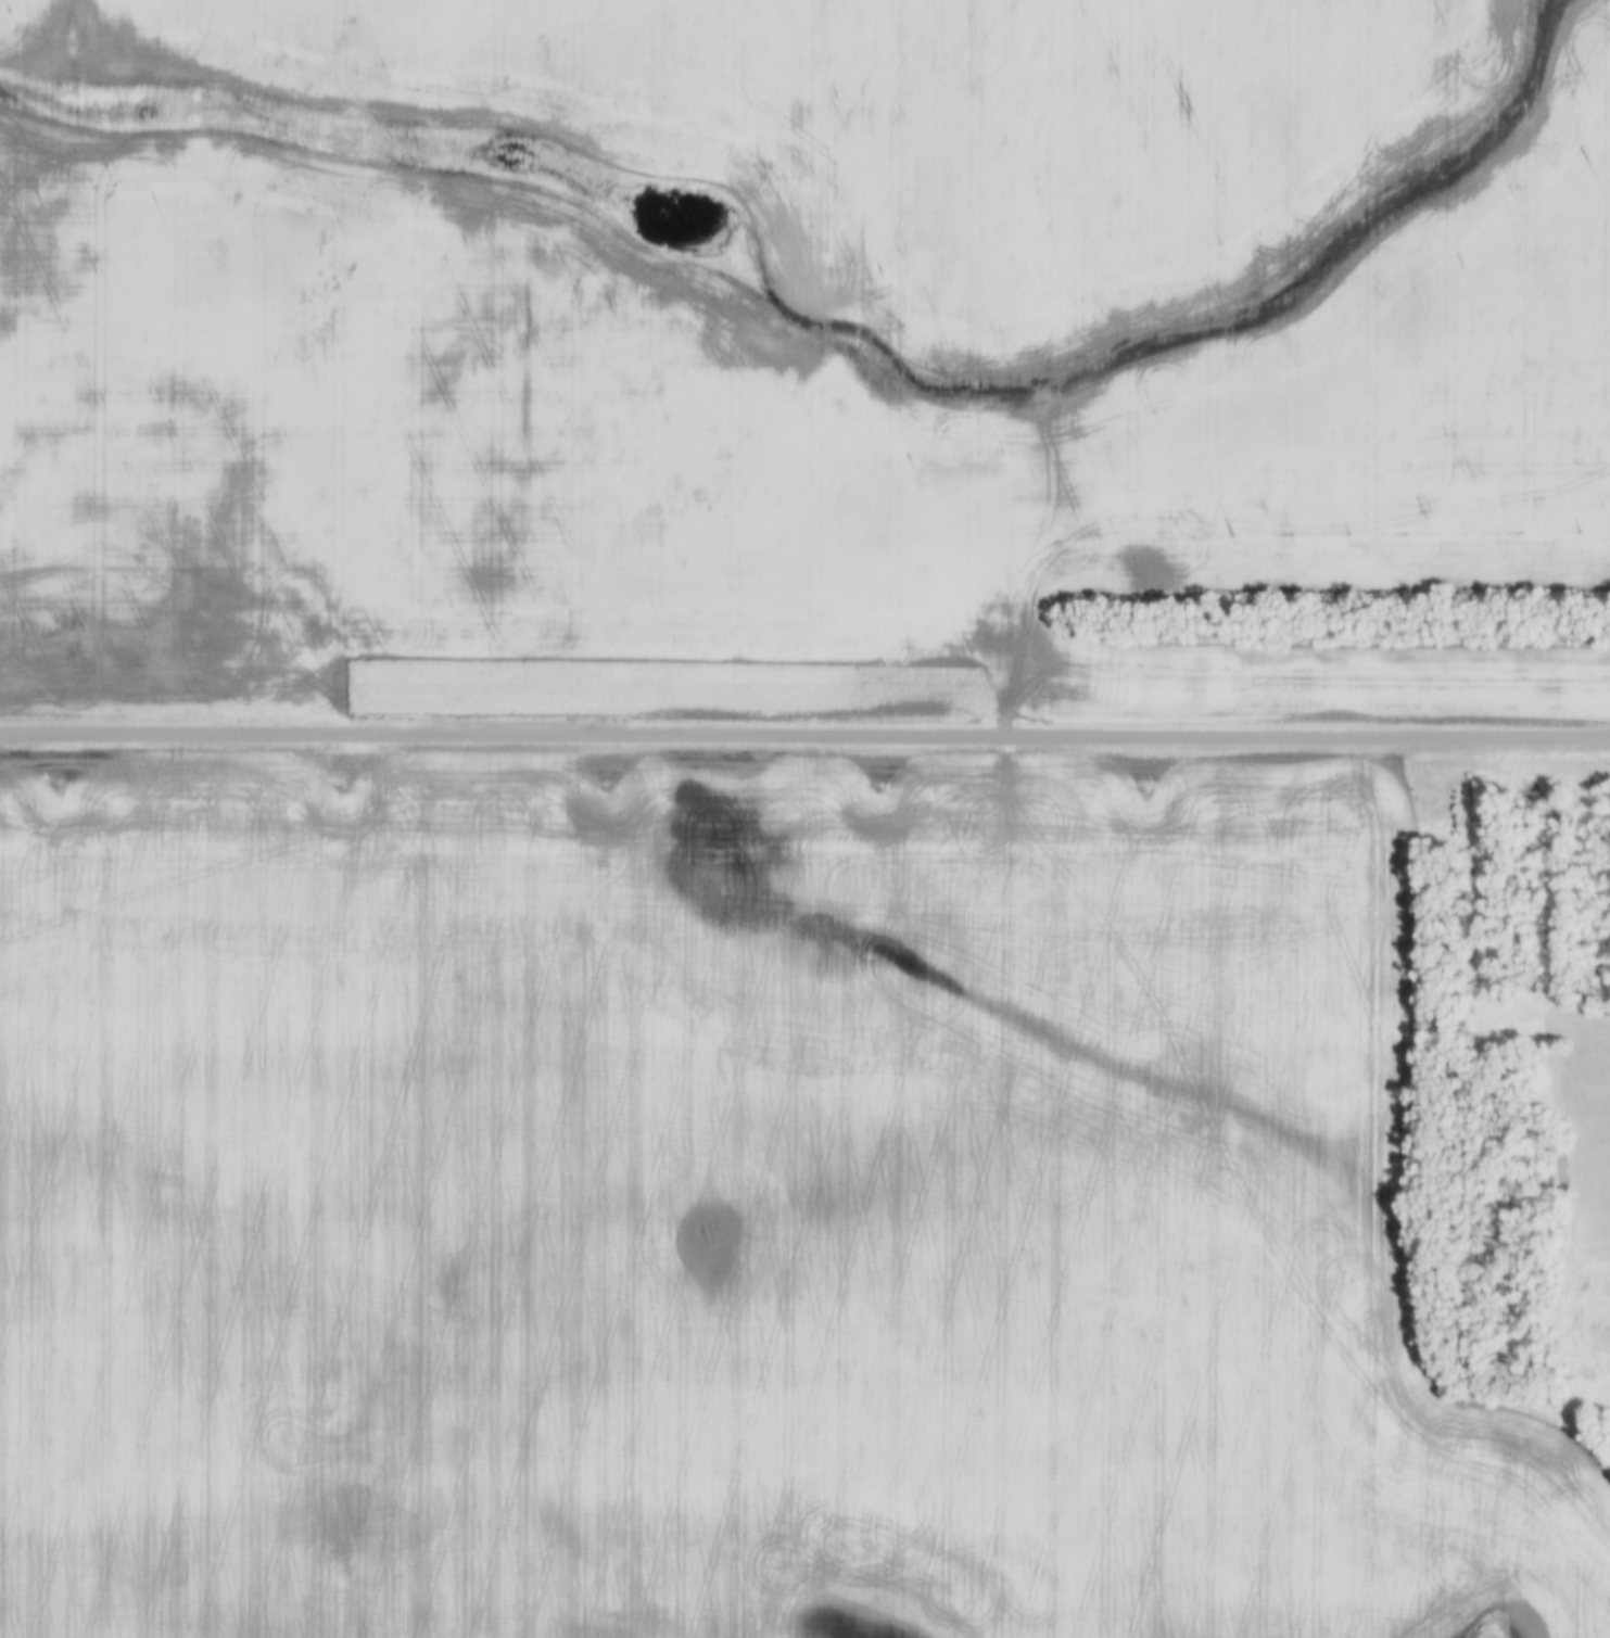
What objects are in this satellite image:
road: (804, 735)

